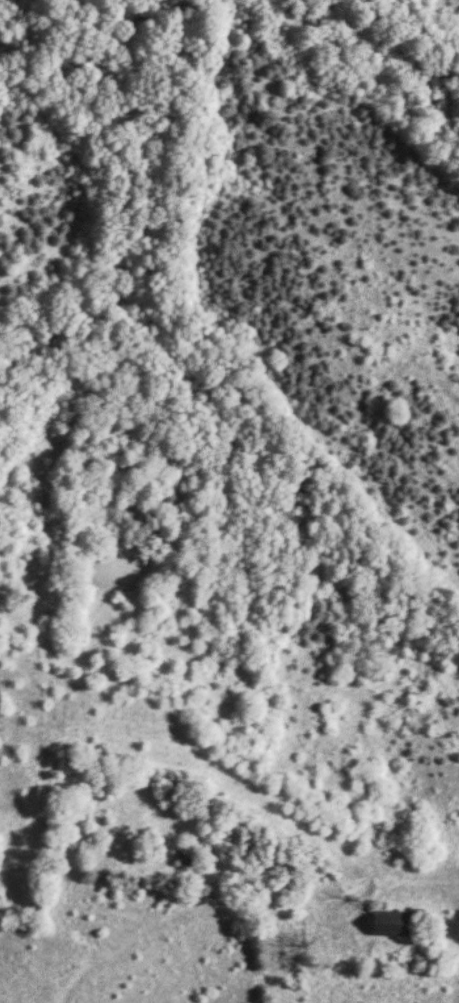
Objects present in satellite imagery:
road: (265, 922)

